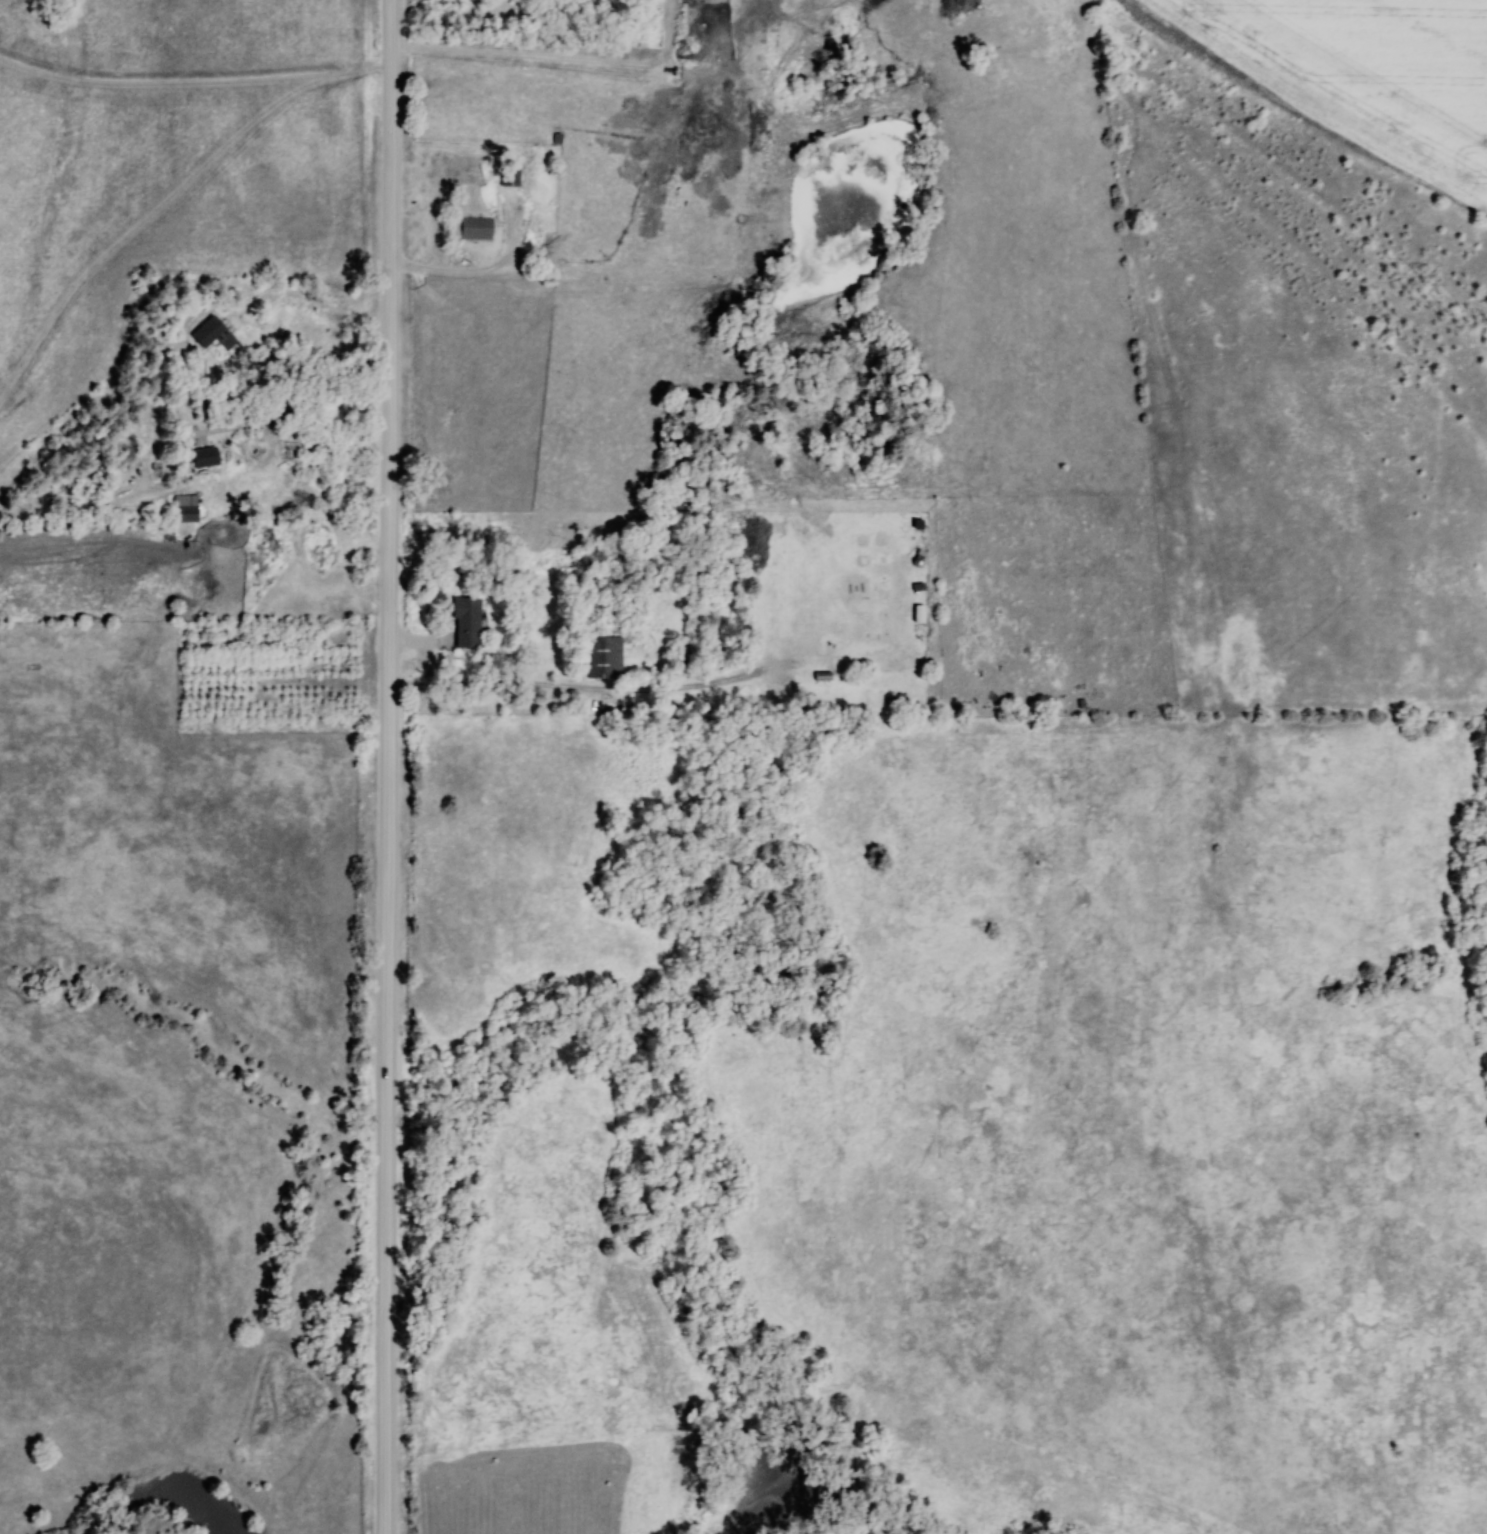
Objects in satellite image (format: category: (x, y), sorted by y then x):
building: (508, 173)
building: (475, 229)
road: (474, 273)
building: (206, 332)
road: (270, 413)
building: (203, 458)
building: (184, 509)
building: (838, 585)
building: (464, 624)
building: (603, 659)
road: (430, 668)
road: (619, 692)
road: (387, 766)

